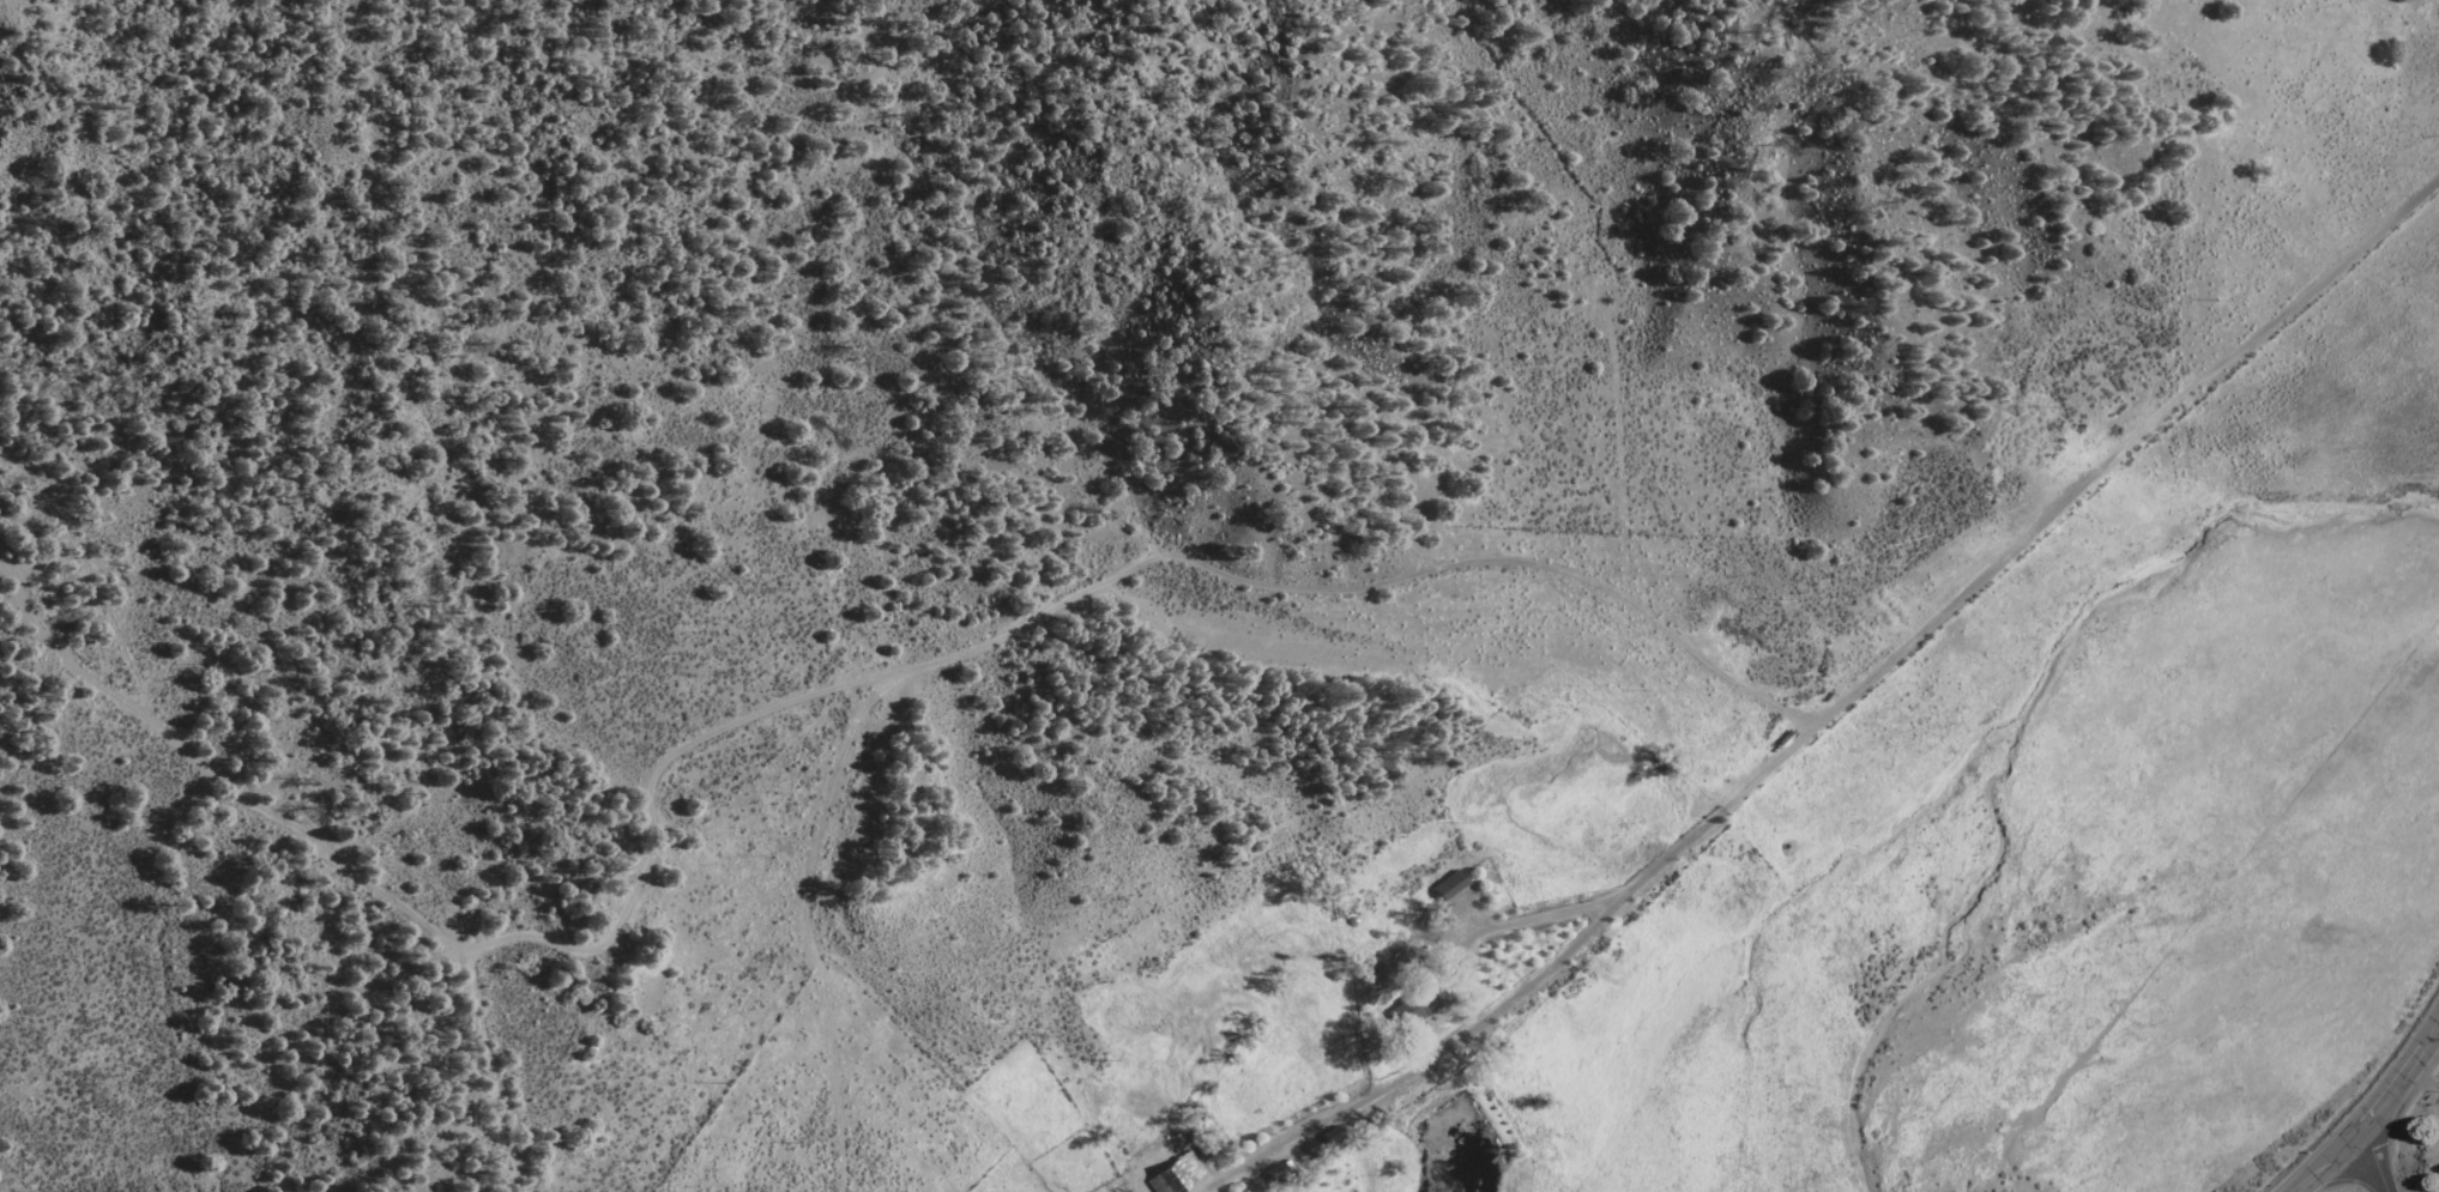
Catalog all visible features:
road: (2320, 283)
road: (974, 651)
road: (215, 772)
road: (1720, 810)
building: (1449, 884)
building: (1415, 1008)
road: (2423, 1082)
road: (2372, 1112)
road: (2375, 1157)
building: (1175, 1174)

